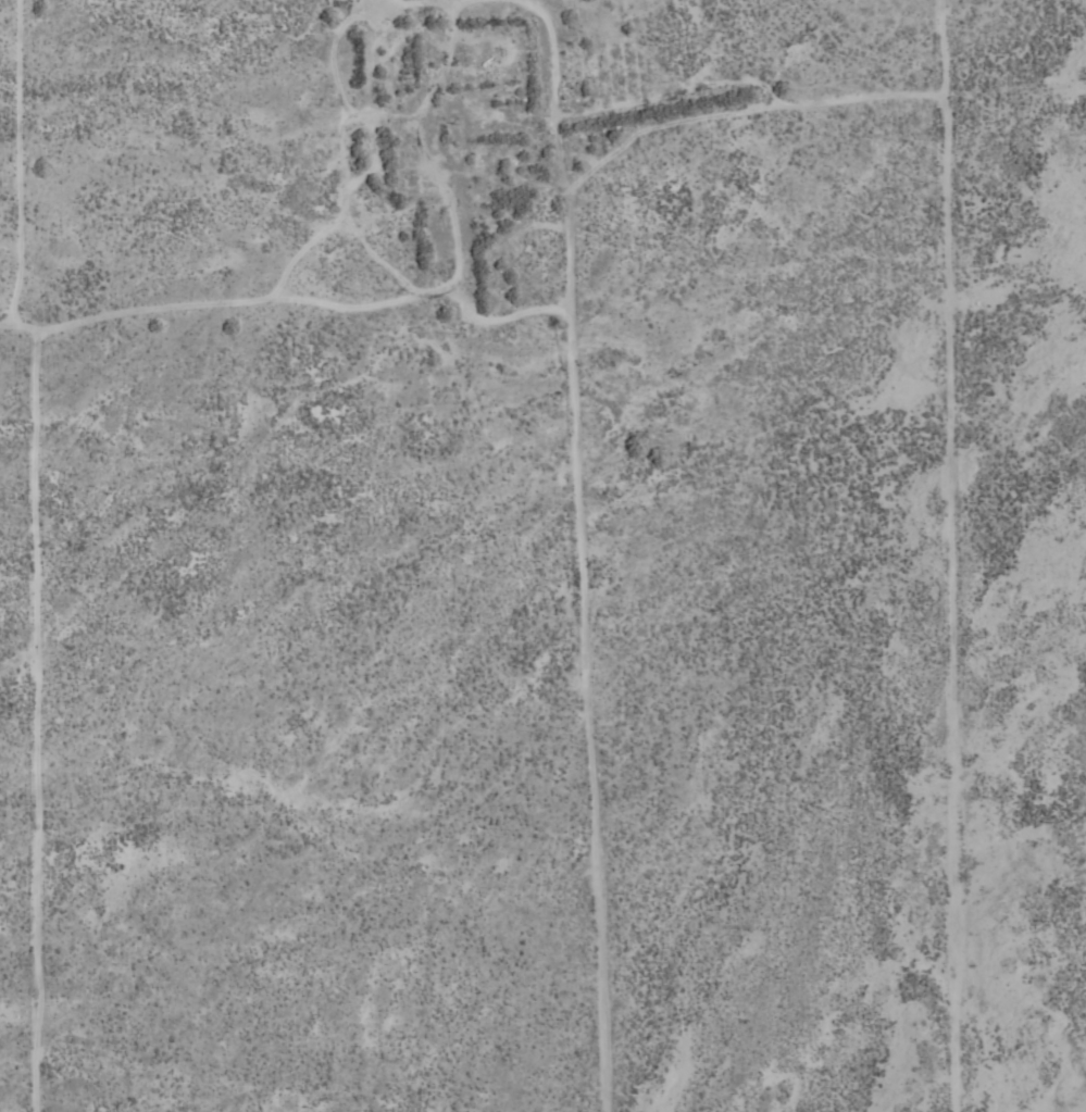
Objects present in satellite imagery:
road: (33, 155)
railway: (453, 260)
railway: (441, 263)
road: (18, 311)
railway: (815, 816)
railway: (804, 820)

